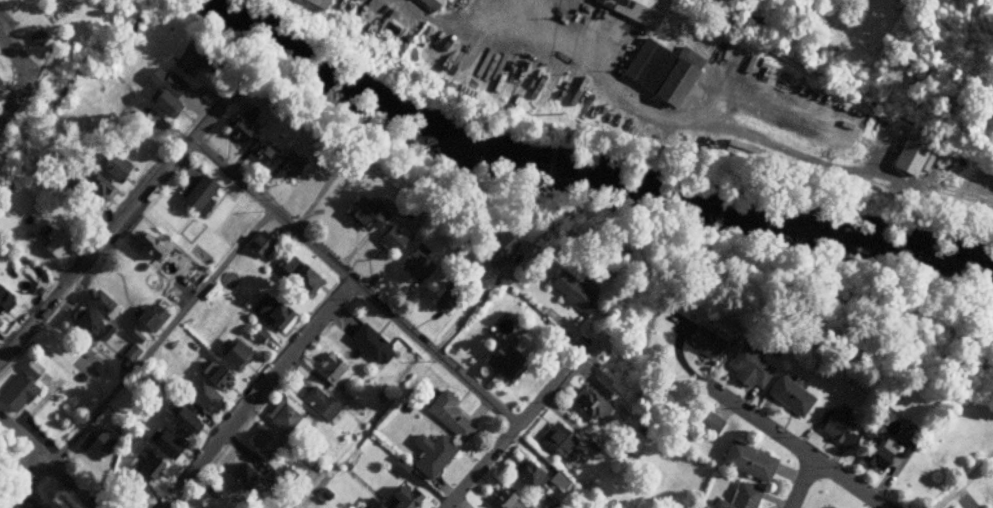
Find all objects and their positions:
building: (890, 0)
building: (318, 2)
building: (429, 3)
building: (637, 9)
road: (443, 20)
road: (56, 28)
building: (34, 35)
building: (193, 56)
road: (39, 66)
building: (223, 68)
building: (657, 70)
road: (25, 74)
building: (165, 79)
road: (3, 86)
road: (15, 89)
building: (269, 102)
building: (161, 103)
building: (248, 107)
building: (135, 113)
building: (237, 124)
road: (715, 126)
building: (260, 147)
building: (908, 153)
building: (110, 162)
building: (288, 164)
building: (75, 165)
river: (590, 171)
building: (97, 185)
building: (197, 193)
road: (580, 205)
building: (362, 210)
road: (120, 220)
building: (390, 238)
building: (51, 239)
building: (143, 241)
building: (258, 241)
building: (495, 247)
building: (421, 261)
road: (153, 263)
building: (142, 264)
building: (297, 274)
road: (357, 279)
building: (37, 289)
building: (572, 290)
building: (451, 292)
building: (4, 300)
building: (100, 301)
road: (478, 303)
building: (272, 312)
building: (149, 314)
building: (90, 323)
building: (257, 331)
road: (162, 332)
building: (134, 333)
building: (703, 339)
building: (170, 341)
building: (369, 343)
road: (109, 347)
building: (130, 350)
building: (231, 353)
building: (505, 358)
park: (86, 361)
building: (748, 364)
building: (28, 367)
building: (210, 371)
building: (332, 375)
building: (14, 390)
road: (257, 392)
building: (379, 394)
building: (788, 394)
building: (203, 396)
building: (85, 400)
building: (587, 401)
building: (320, 403)
building: (406, 403)
building: (448, 414)
building: (176, 416)
building: (286, 418)
building: (707, 420)
road: (375, 423)
building: (836, 423)
building: (641, 425)
road: (518, 427)
road: (784, 435)
building: (263, 439)
building: (95, 440)
building: (560, 443)
building: (163, 444)
building: (904, 445)
building: (429, 452)
building: (875, 453)
road: (47, 457)
building: (747, 459)
building: (325, 462)
building: (346, 464)
road: (26, 466)
building: (397, 467)
building: (144, 470)
building: (527, 473)
building: (278, 474)
building: (238, 475)
road: (963, 478)
building: (559, 480)
road: (803, 482)
building: (101, 490)
building: (211, 491)
building: (320, 495)
building: (737, 496)
building: (502, 497)
building: (400, 498)
road: (23, 500)
road: (33, 500)
road: (305, 501)
building: (606, 501)
building: (370, 502)
building: (829, 506)

